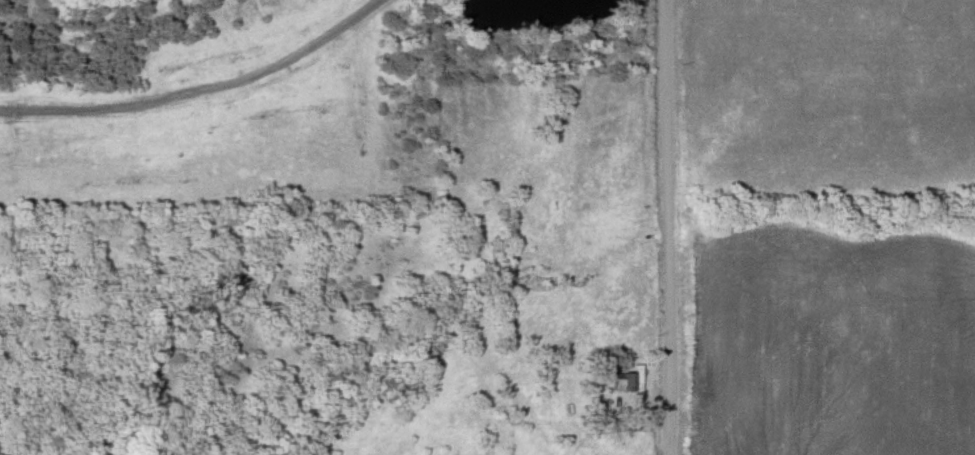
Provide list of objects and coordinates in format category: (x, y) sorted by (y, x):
road: (664, 227)

